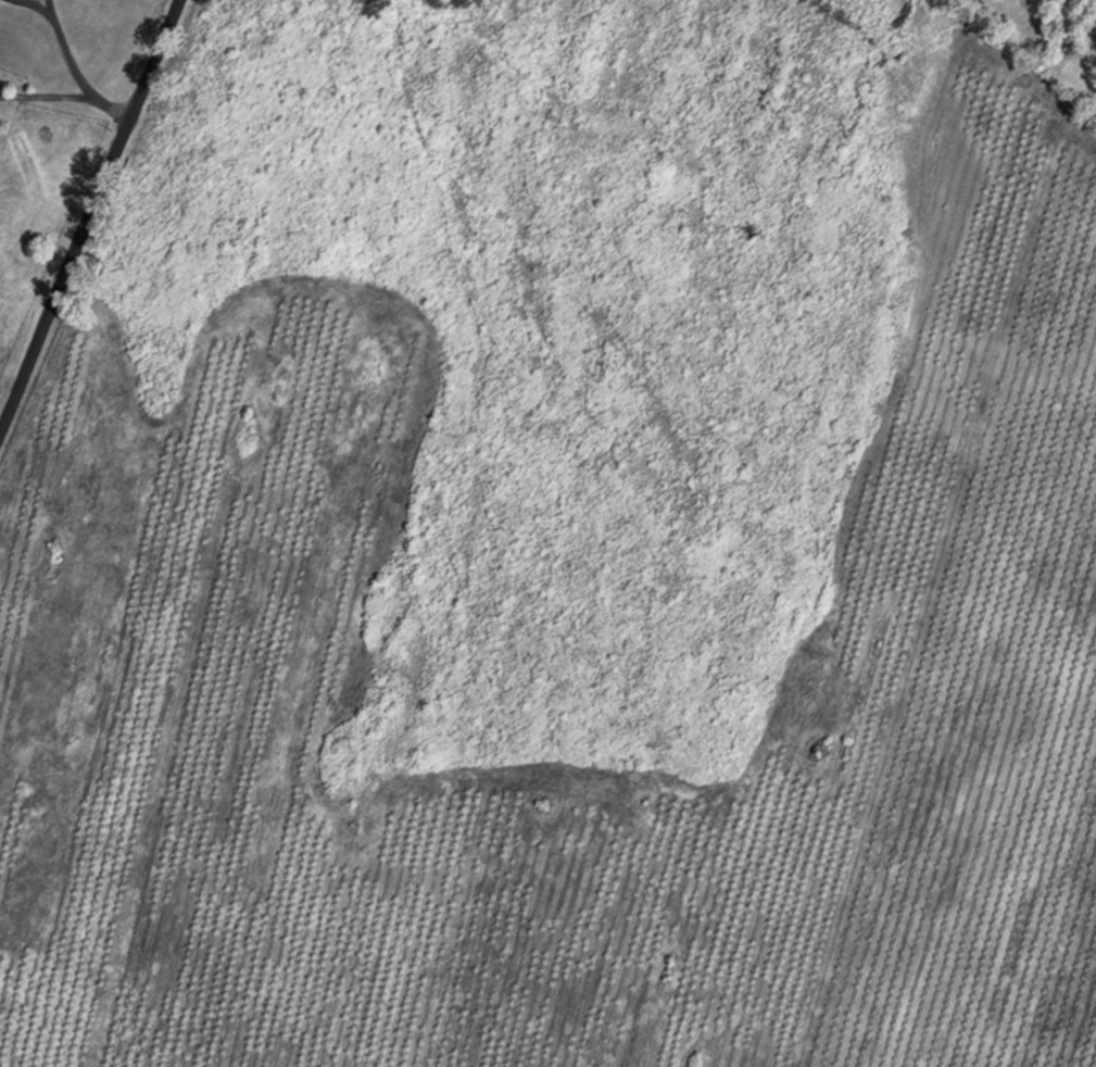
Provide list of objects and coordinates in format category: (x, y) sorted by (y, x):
road: (29, 0)
road: (77, 67)
road: (46, 95)
road: (93, 218)
road: (773, 1045)

